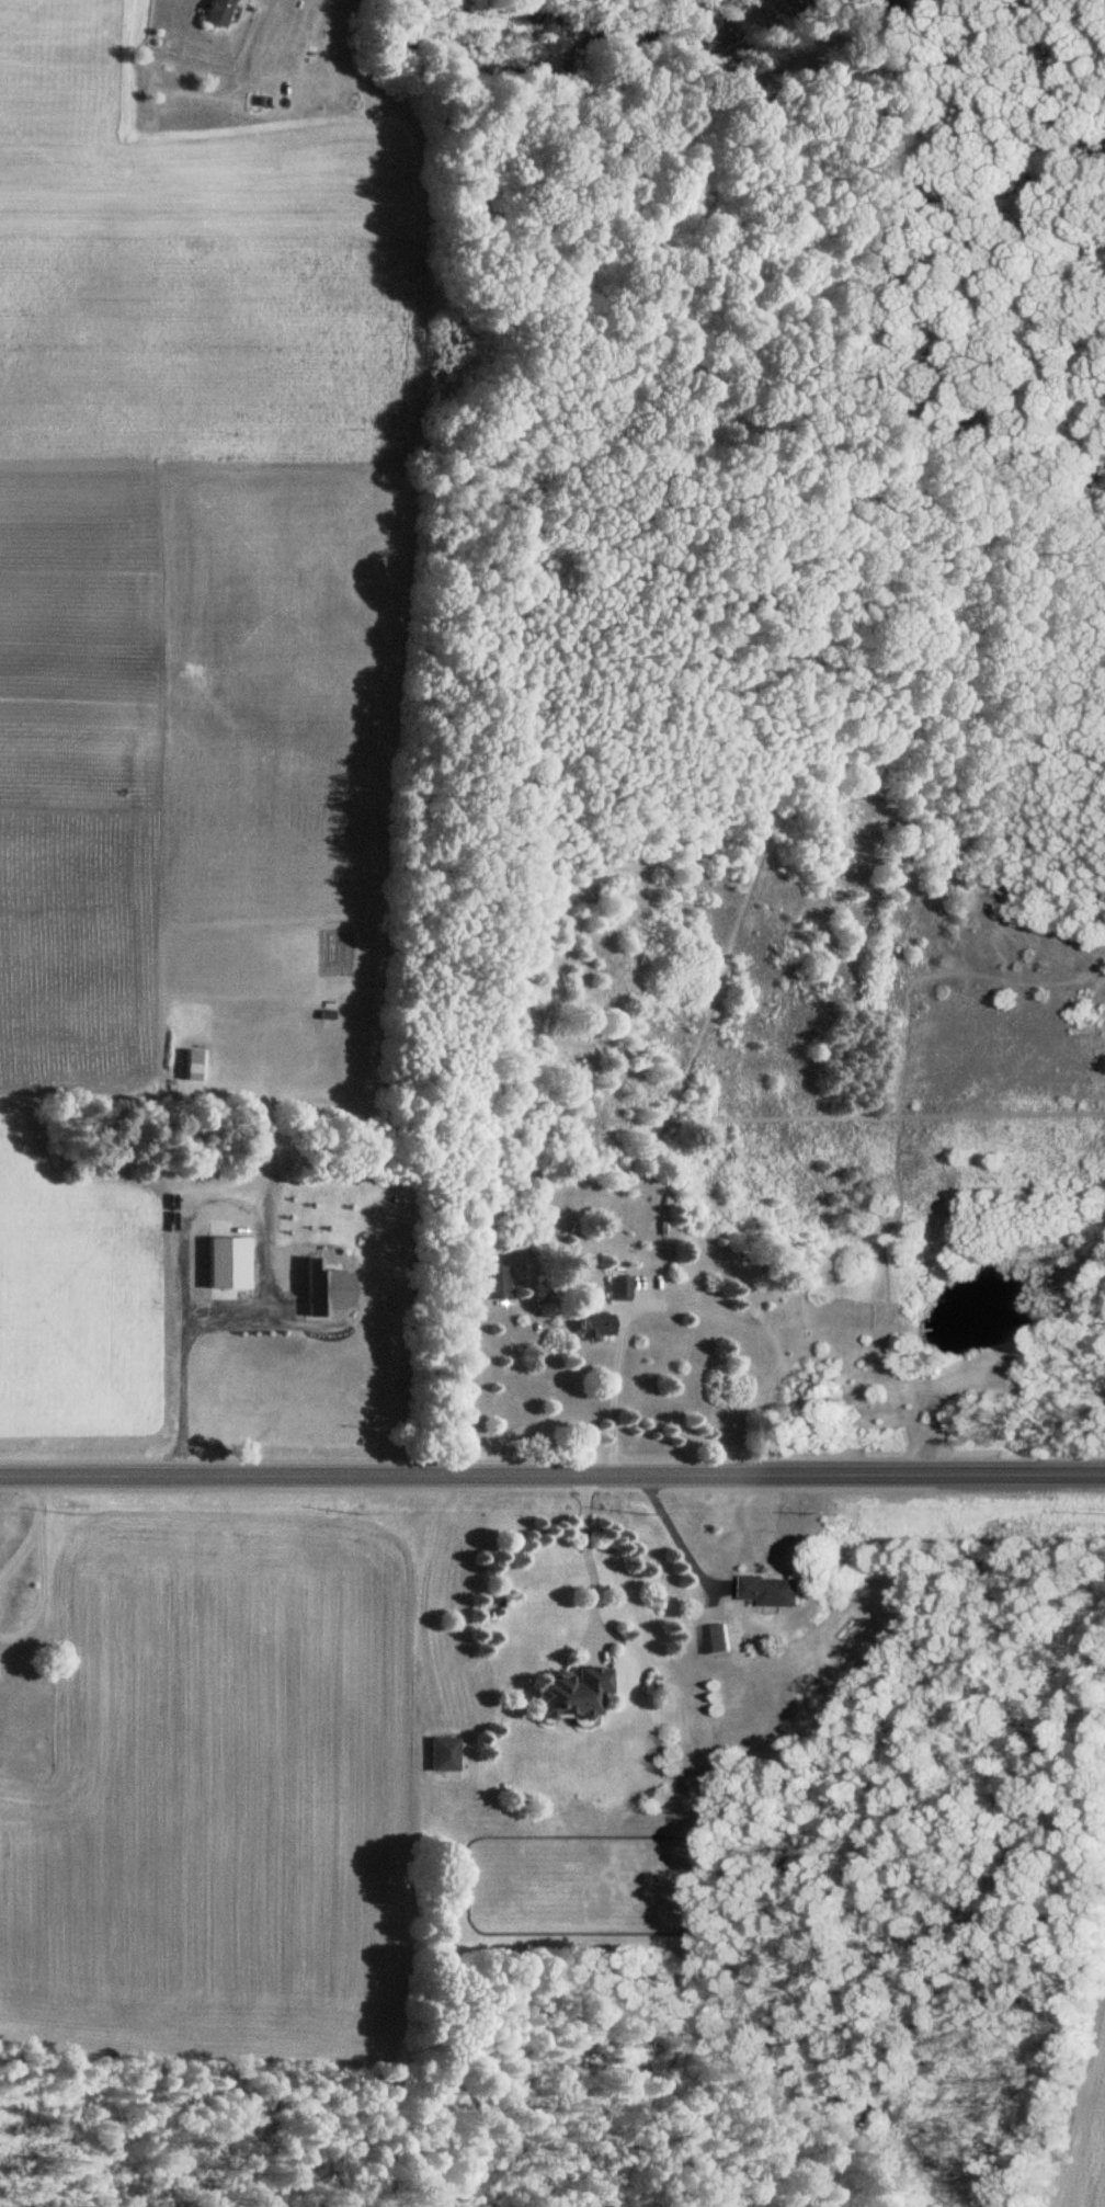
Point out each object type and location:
building: (216, 13)
road: (261, 1269)
building: (599, 1326)
road: (463, 1372)
road: (611, 1395)
road: (551, 1477)
road: (37, 1490)
road: (22, 1537)
road: (677, 1543)
road: (586, 1563)
road: (37, 1580)
building: (776, 1592)
building: (573, 1694)
building: (441, 1754)

